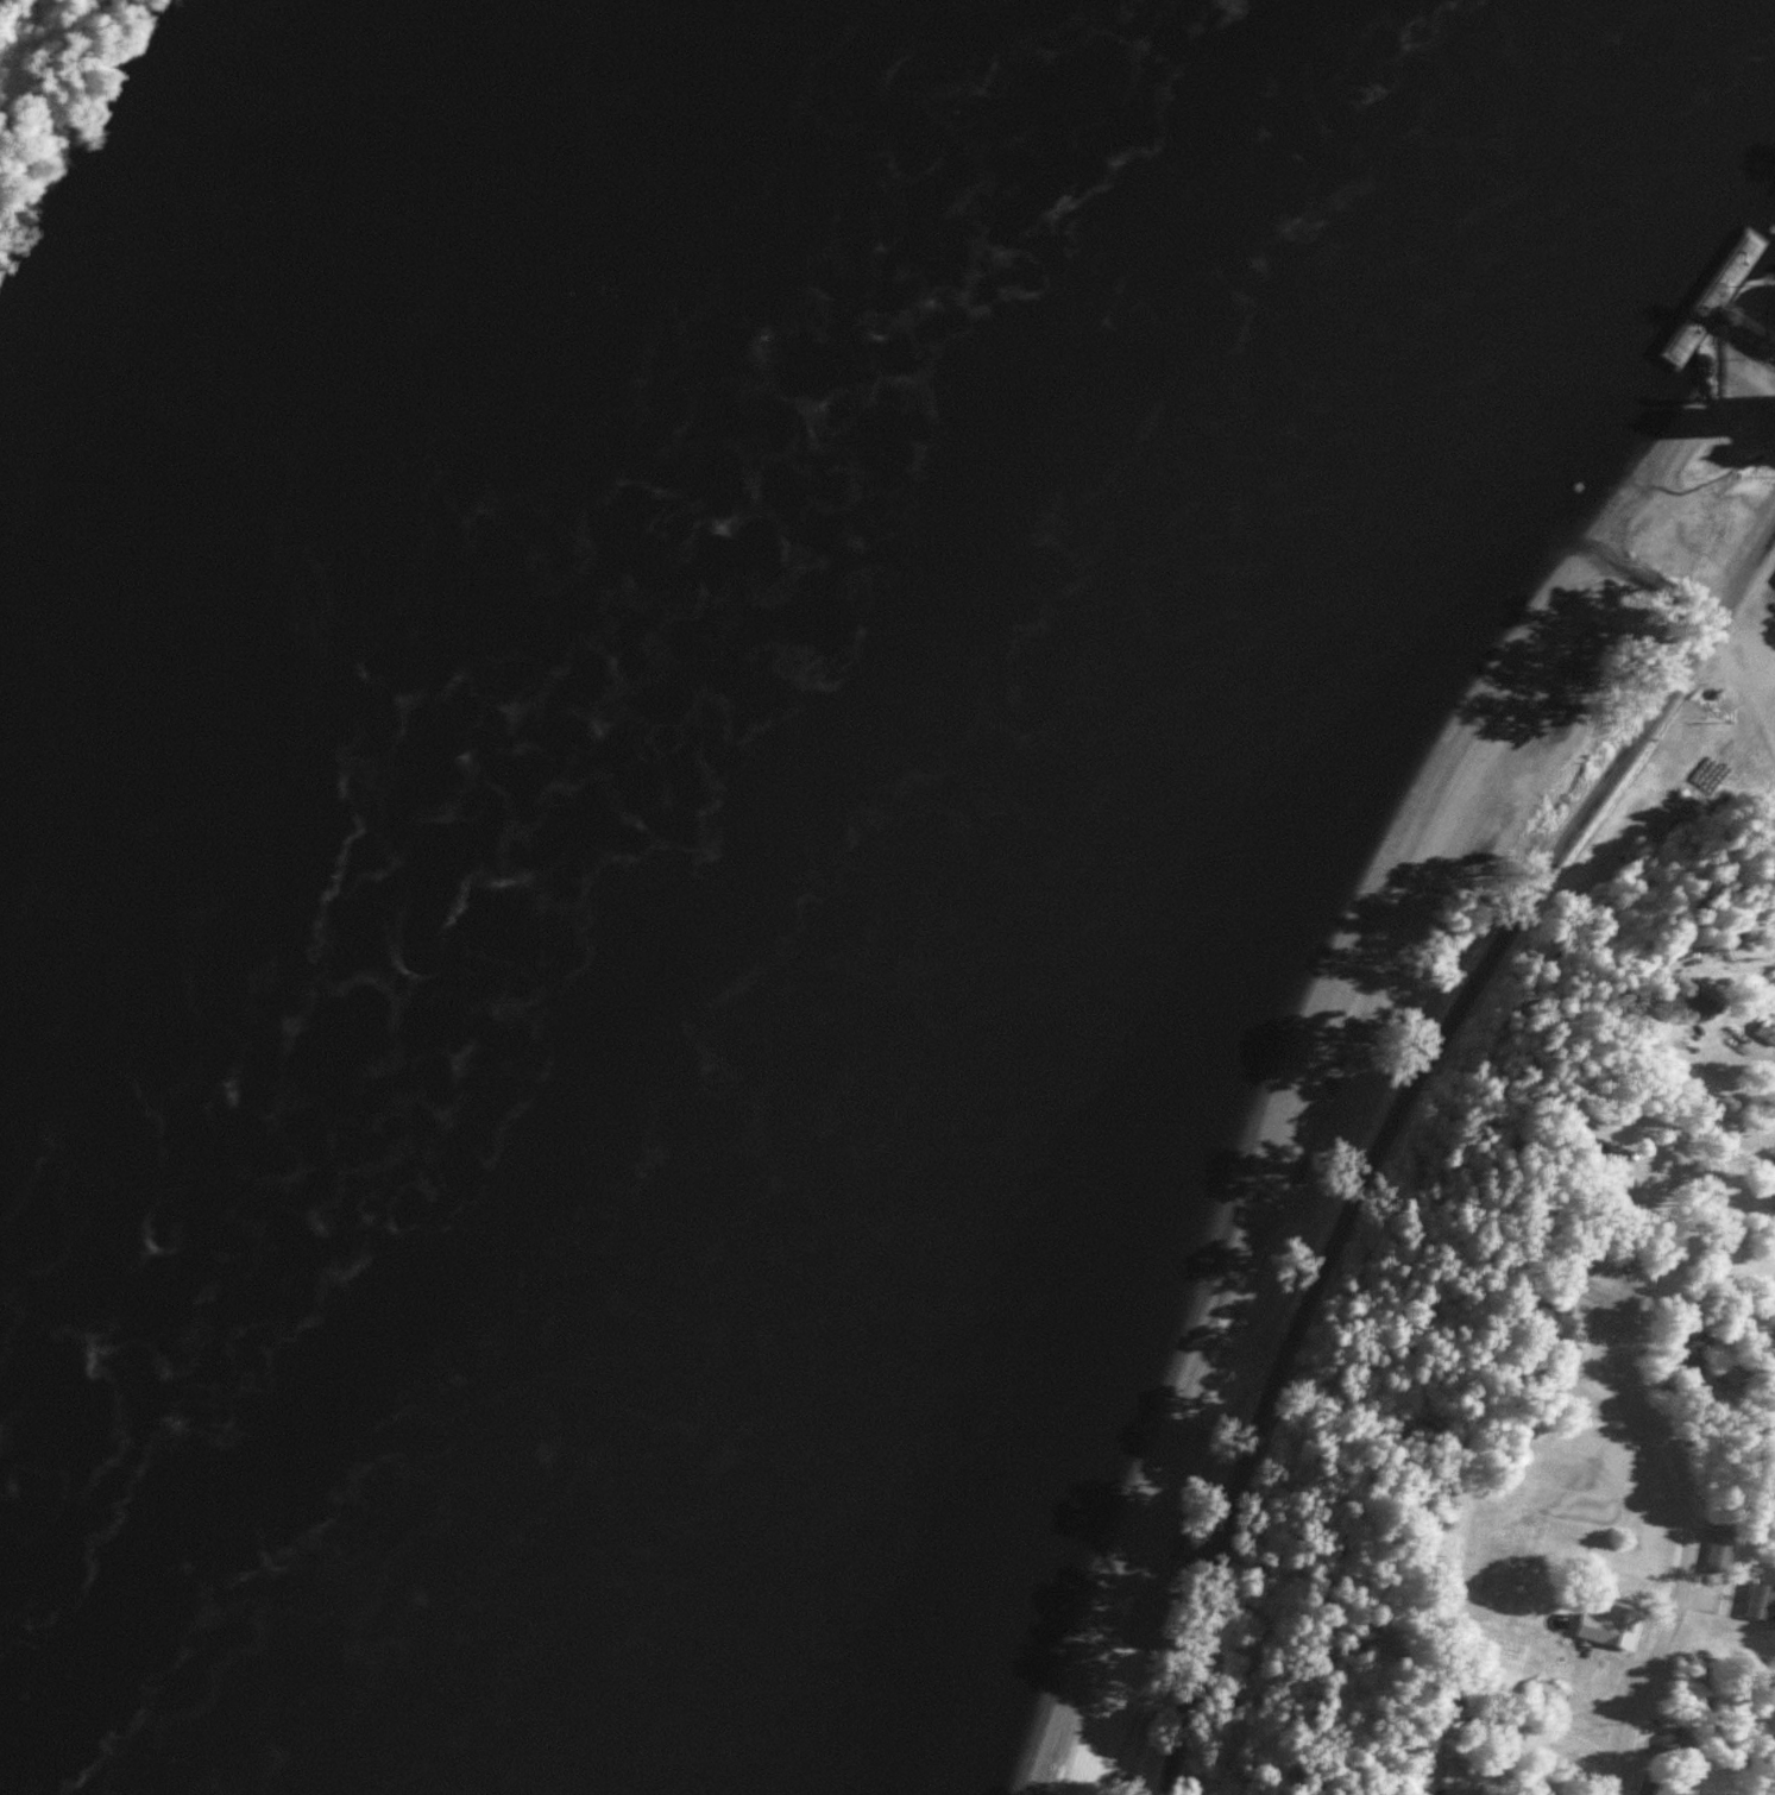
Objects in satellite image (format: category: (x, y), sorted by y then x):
road: (1761, 396)
road: (1733, 703)
river: (632, 878)
building: (1710, 996)
building: (1767, 1028)
road: (1392, 1116)
road: (1657, 1280)
building: (1556, 1320)
building: (1694, 1344)
road: (1719, 1432)
building: (1720, 1545)
building: (1760, 1600)
building: (1612, 1613)
road: (1667, 1619)
building: (1544, 1692)
building: (1673, 1739)
building: (1436, 1774)
building: (1466, 1776)
building: (1653, 1784)

